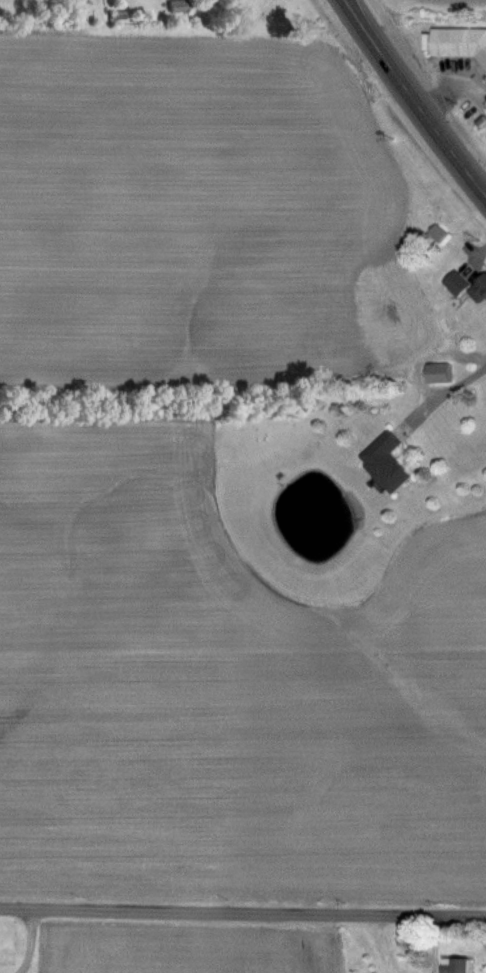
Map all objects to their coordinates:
building: (176, 5)
building: (459, 43)
road: (415, 97)
building: (457, 284)
building: (479, 290)
building: (399, 314)
building: (441, 373)
building: (483, 389)
road: (443, 397)
building: (388, 463)
crop: (208, 495)
road: (243, 912)
crop: (146, 928)
road: (28, 941)
building: (458, 965)

